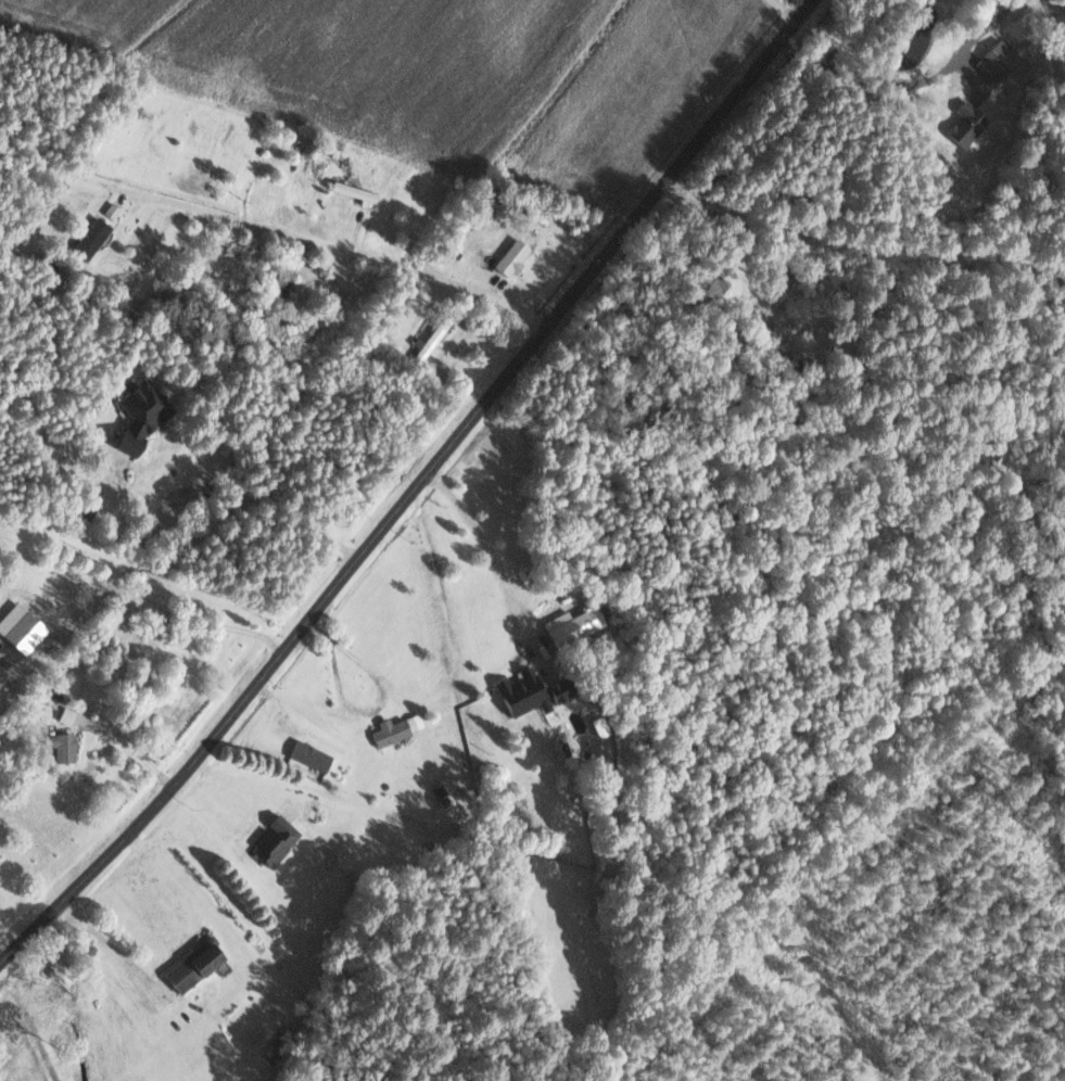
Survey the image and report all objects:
building: (1000, 58)
building: (356, 192)
building: (113, 211)
building: (93, 238)
road: (300, 241)
building: (515, 256)
building: (269, 295)
building: (142, 416)
road: (416, 489)
road: (497, 565)
building: (573, 625)
building: (28, 633)
building: (536, 691)
road: (385, 696)
building: (68, 715)
building: (400, 728)
building: (65, 747)
building: (313, 755)
building: (278, 841)
building: (198, 965)

